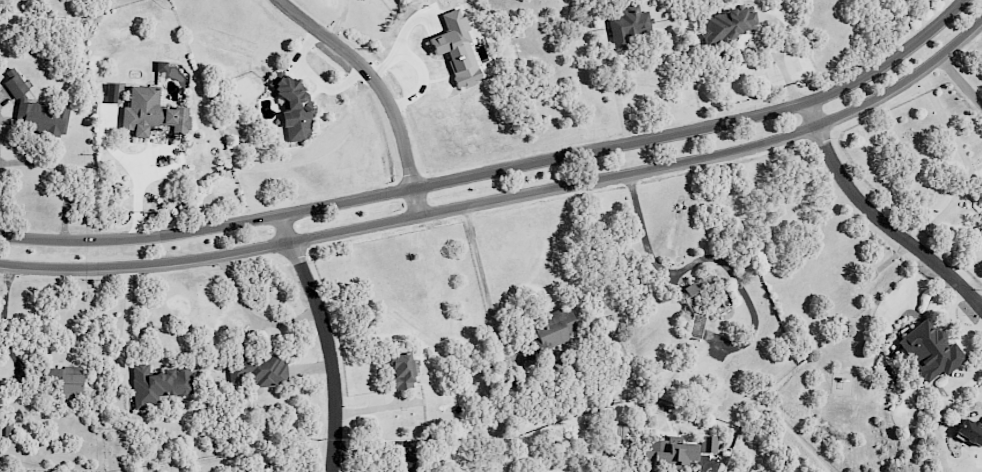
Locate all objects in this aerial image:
building: (626, 24)
building: (726, 24)
building: (453, 48)
road: (960, 84)
road: (379, 87)
building: (109, 92)
building: (291, 107)
building: (33, 109)
building: (148, 112)
road: (500, 171)
road: (507, 199)
road: (879, 219)
building: (977, 230)
road: (689, 269)
road: (483, 283)
building: (692, 305)
road: (127, 315)
road: (250, 317)
road: (4, 318)
building: (552, 329)
road: (327, 341)
building: (924, 350)
building: (256, 370)
building: (396, 370)
building: (61, 384)
building: (156, 384)
building: (965, 432)
building: (705, 444)
building: (667, 452)

